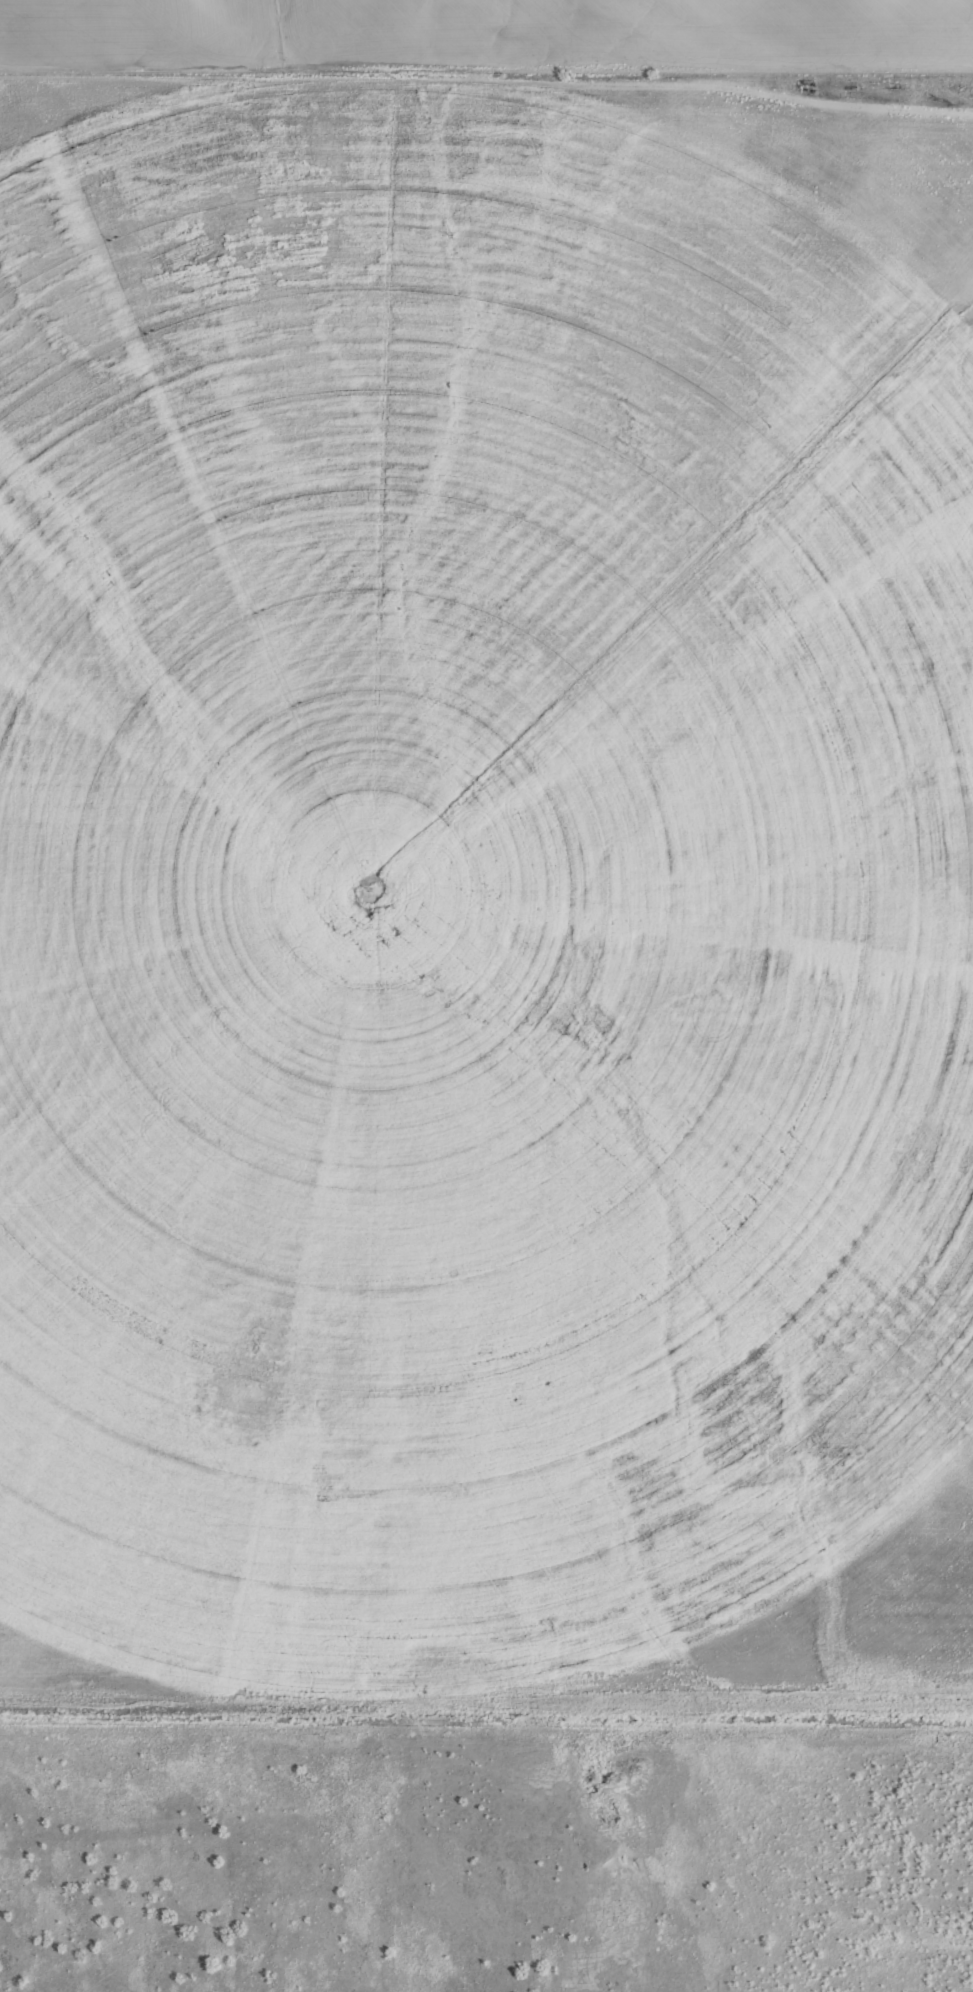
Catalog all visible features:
road: (957, 40)

